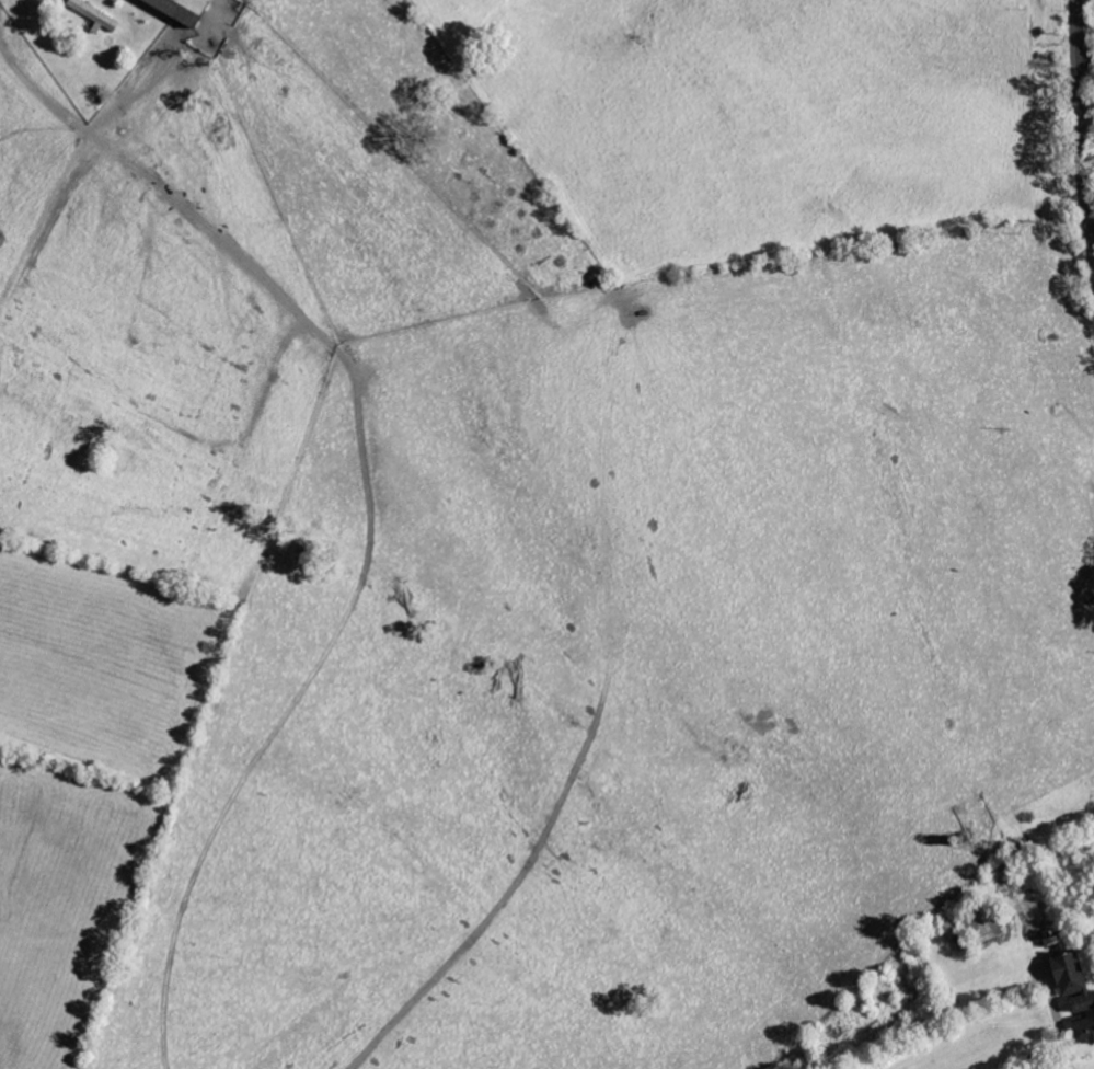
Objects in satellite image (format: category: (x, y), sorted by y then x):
building: (192, 10)
road: (1080, 126)
road: (1060, 1032)

